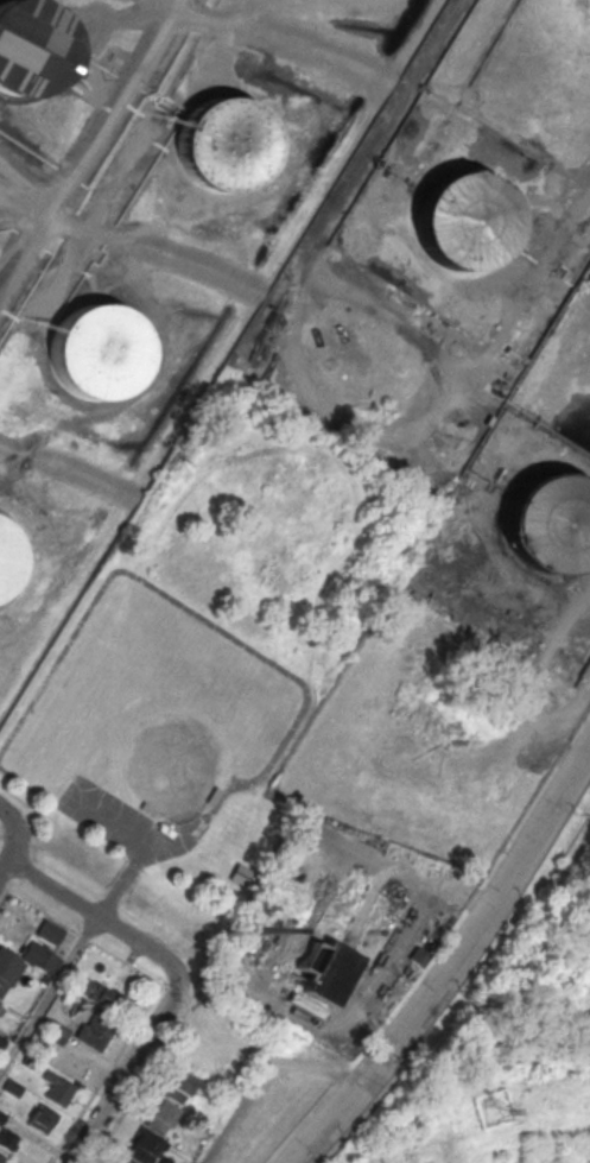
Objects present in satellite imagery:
building: (25, 57)
building: (224, 144)
storage tank: (224, 144)
building: (465, 219)
storage tank: (465, 219)
building: (100, 349)
storage tank: (100, 349)
building: (551, 520)
storage tank: (551, 520)
building: (7, 556)
storage tank: (7, 556)
park: (198, 653)
road: (15, 832)
road: (4, 865)
road: (402, 865)
road: (95, 916)
chimney: (259, 929)
building: (51, 931)
road: (452, 963)
building: (9, 967)
building: (325, 971)
road: (47, 992)
building: (101, 993)
building: (0, 1005)
building: (95, 1031)
building: (2, 1041)
road: (126, 1068)
building: (179, 1086)
building: (59, 1088)
power tower: (493, 1110)
building: (43, 1118)
building: (160, 1118)
building: (7, 1138)
building: (144, 1148)
building: (2, 1158)
building: (123, 1162)

